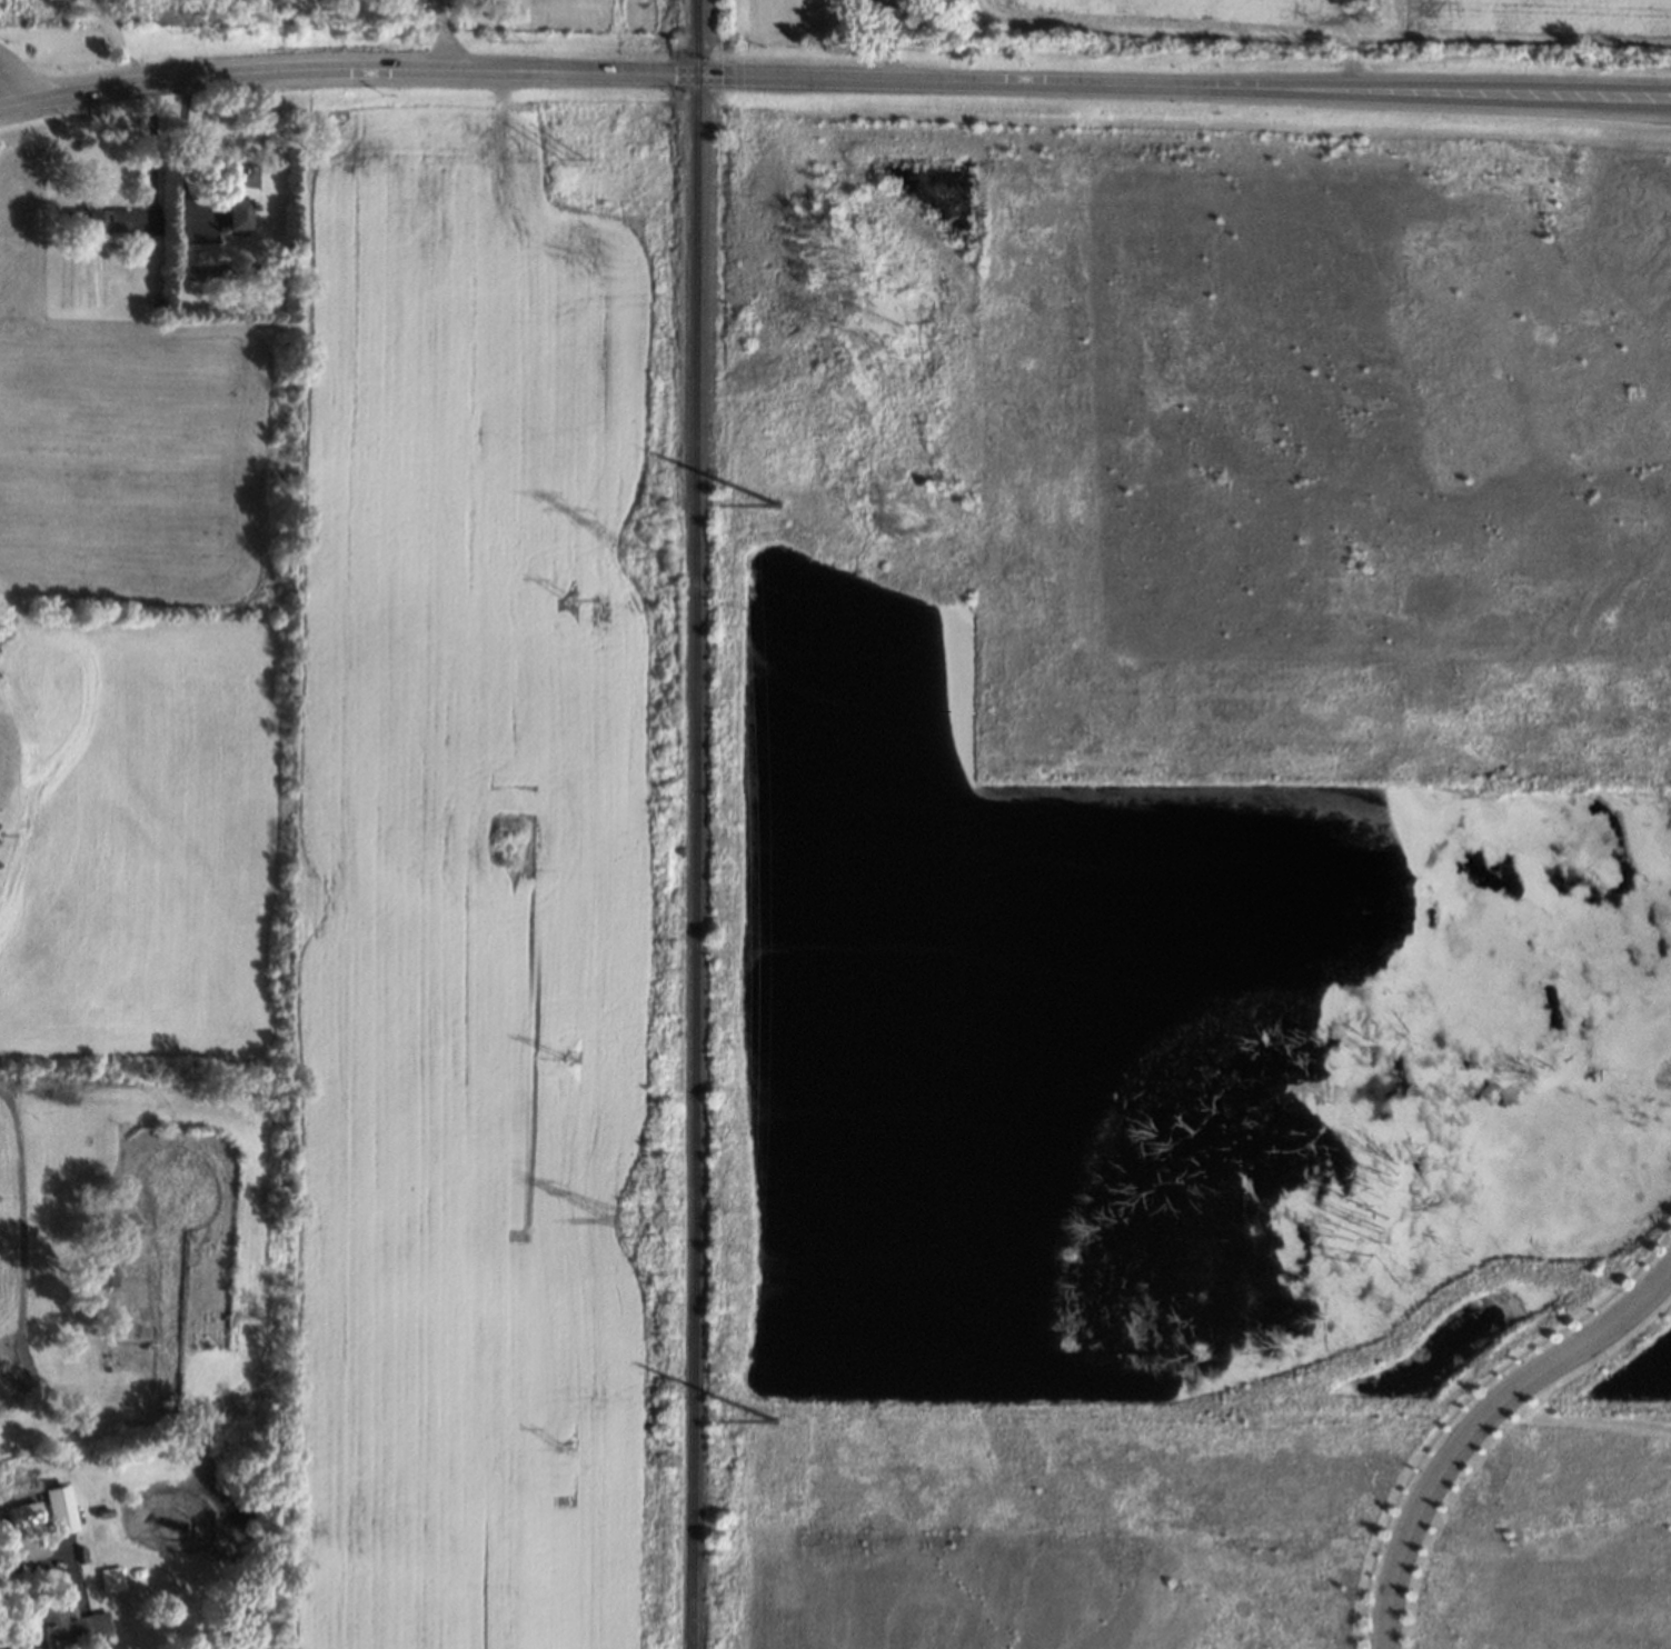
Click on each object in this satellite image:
road: (448, 34)
road: (117, 38)
road: (833, 78)
road: (18, 79)
road: (181, 150)
power tower: (575, 151)
road: (156, 157)
building: (240, 193)
building: (97, 221)
power tower: (778, 502)
power tower: (640, 553)
crop: (425, 580)
power tower: (574, 600)
railway: (693, 825)
power tower: (569, 1059)
road: (22, 1213)
power tower: (644, 1222)
building: (106, 1277)
power tower: (774, 1419)
road: (1478, 1426)
power tower: (567, 1445)
building: (52, 1509)
road: (36, 1565)
building: (74, 1626)

